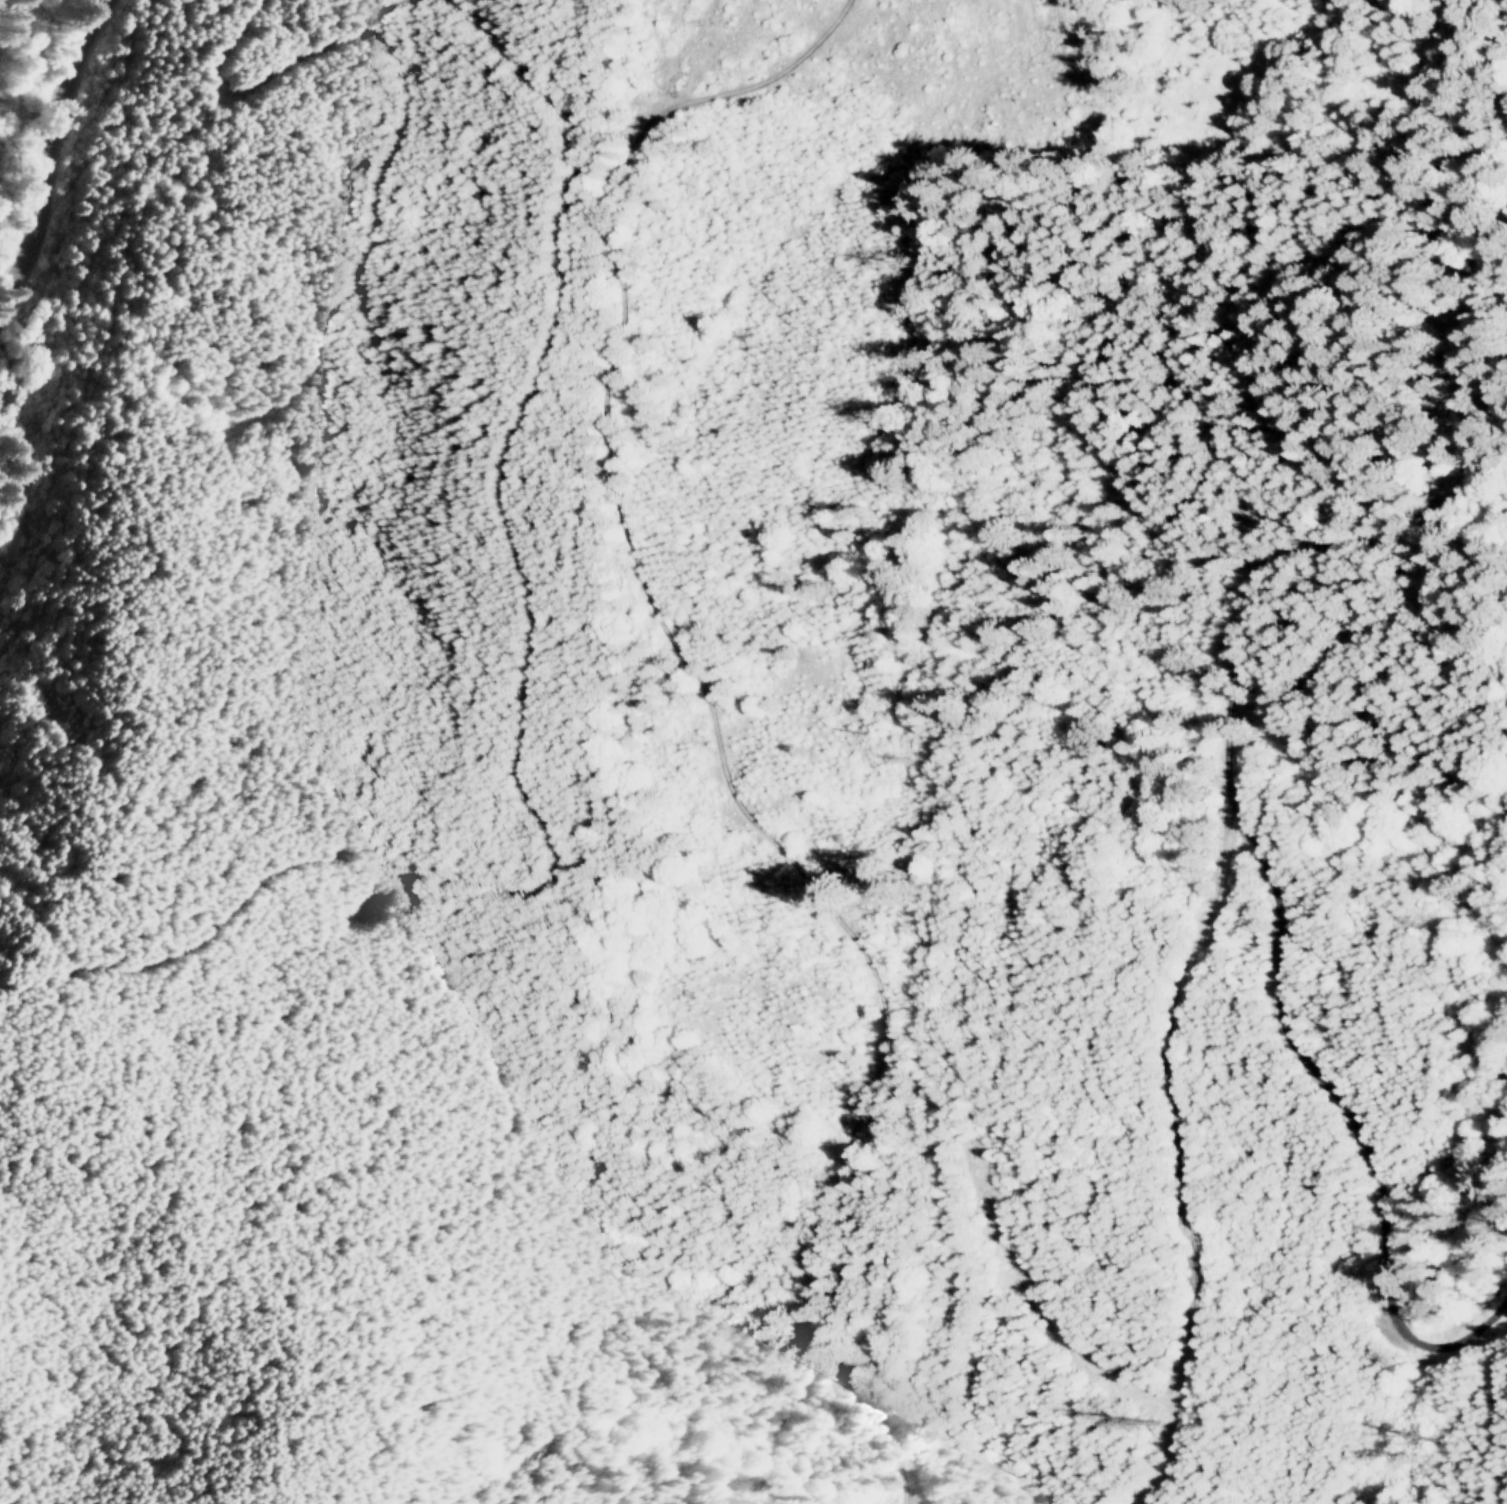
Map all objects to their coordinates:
road: (51, 145)

